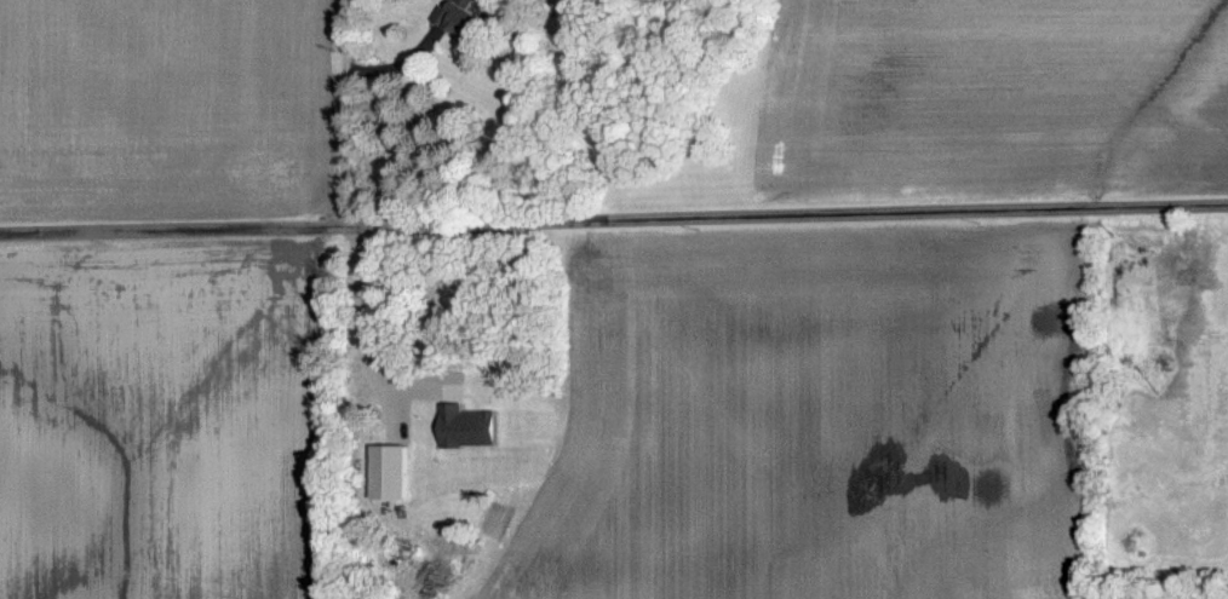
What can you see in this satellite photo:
building: (457, 18)
road: (396, 64)
crop: (966, 99)
crop: (166, 110)
road: (345, 113)
road: (613, 219)
building: (464, 427)
building: (386, 472)

